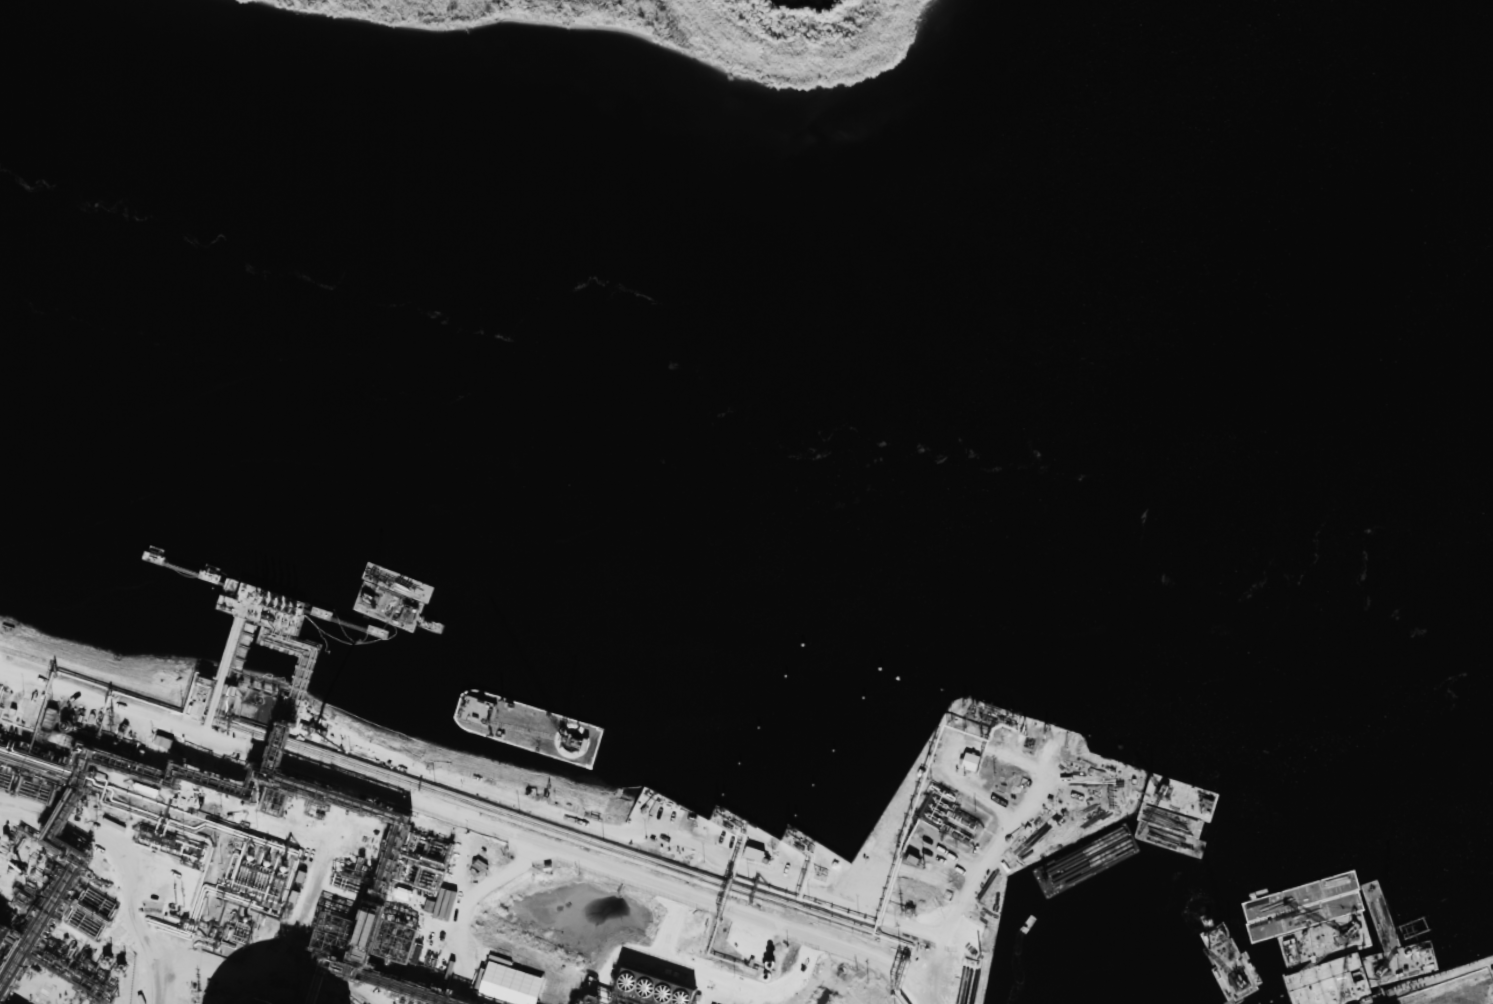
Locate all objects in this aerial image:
river: (740, 467)
road: (216, 708)
building: (968, 762)
road: (939, 767)
road: (1036, 776)
road: (468, 836)
building: (752, 854)
road: (860, 876)
road: (982, 889)
road: (1385, 1000)

